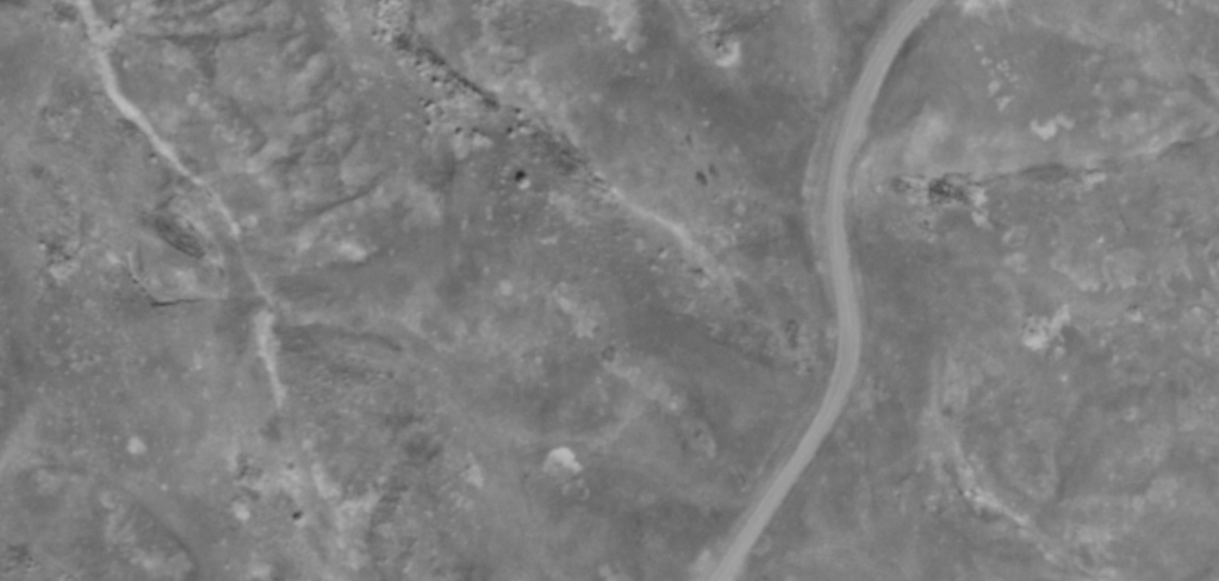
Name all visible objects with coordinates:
road: (839, 294)

